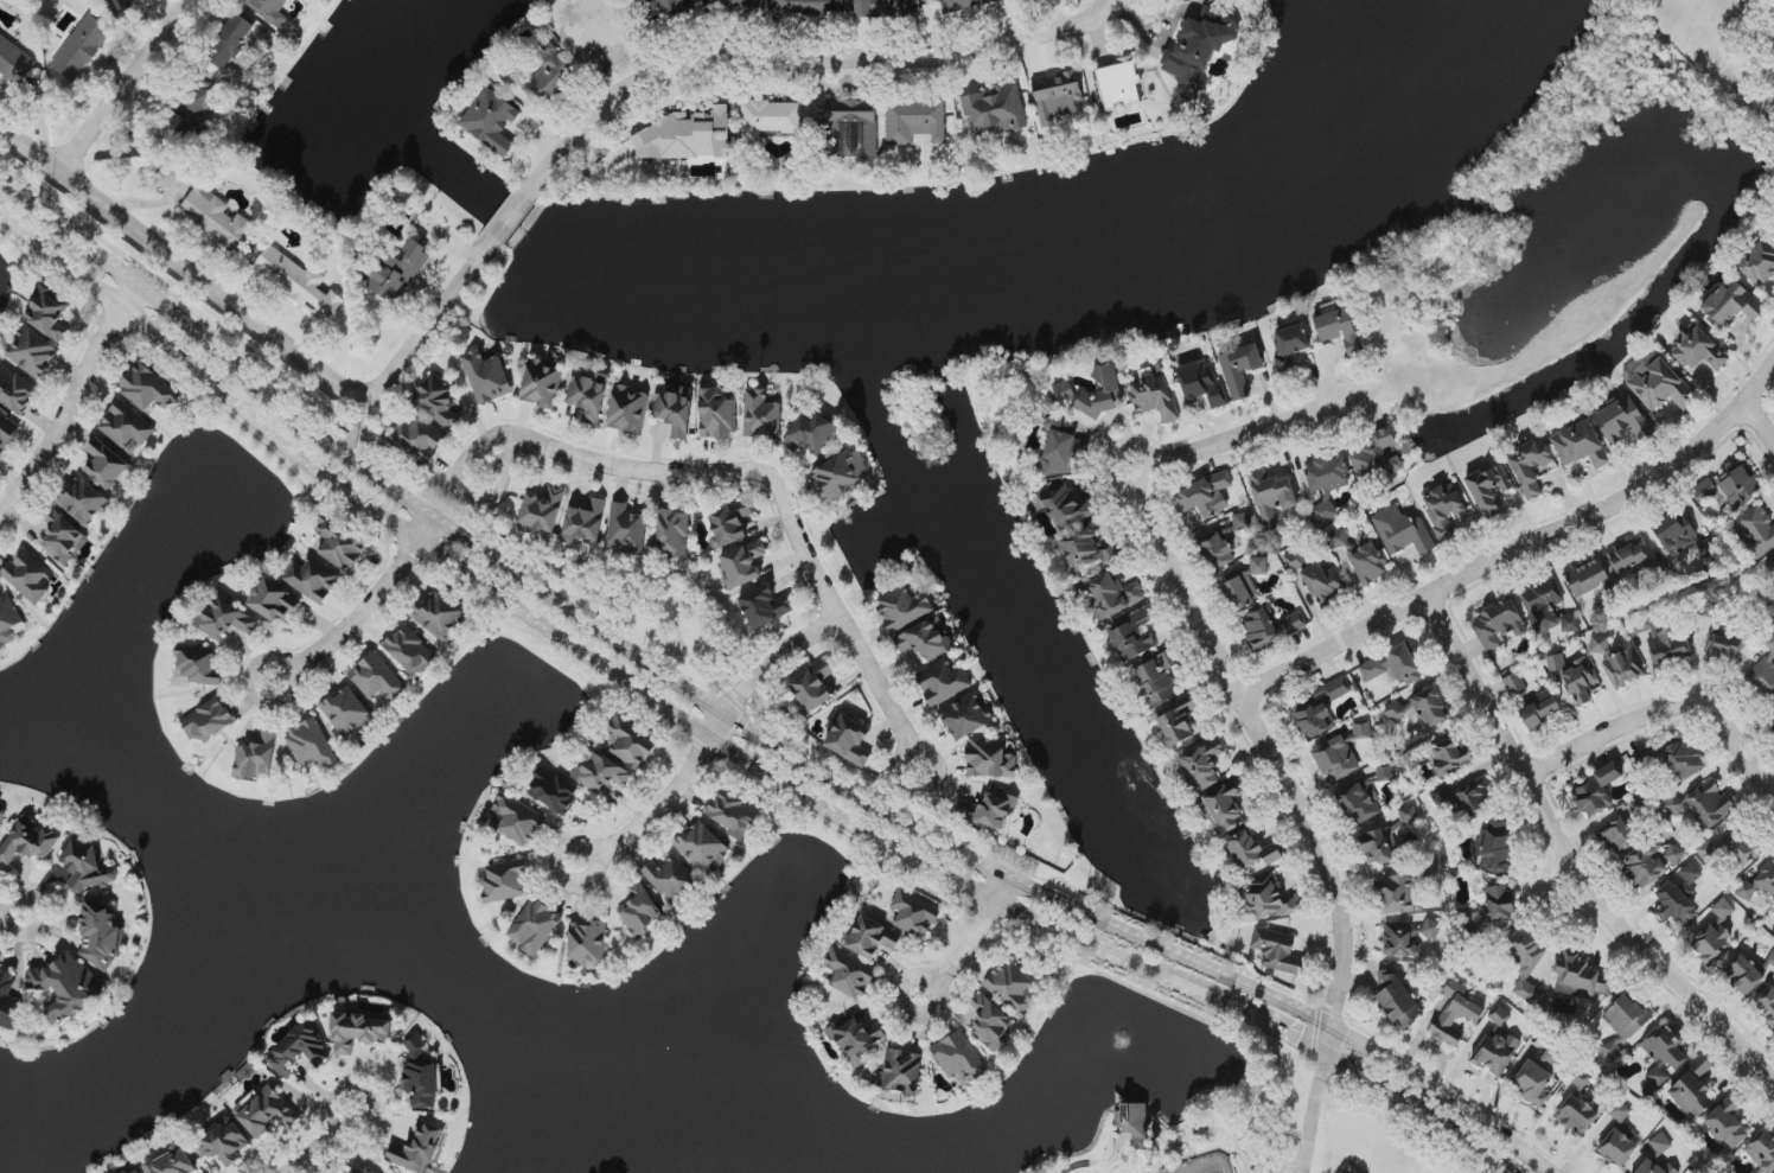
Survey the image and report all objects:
building: (139, 0)
building: (306, 0)
building: (125, 2)
building: (964, 4)
building: (735, 5)
building: (806, 6)
building: (668, 8)
building: (887, 8)
building: (269, 9)
building: (598, 33)
building: (1, 37)
building: (230, 42)
building: (82, 47)
building: (1197, 55)
road: (802, 59)
building: (14, 62)
building: (541, 74)
building: (1119, 84)
road: (123, 87)
building: (1057, 96)
building: (193, 108)
building: (995, 111)
building: (770, 120)
building: (491, 121)
building: (915, 121)
building: (849, 129)
building: (685, 136)
building: (167, 177)
road: (510, 221)
building: (1760, 264)
road: (180, 267)
building: (396, 272)
building: (298, 282)
building: (1732, 305)
building: (47, 314)
road: (429, 326)
building: (1339, 330)
building: (1291, 343)
building: (1698, 350)
building: (32, 352)
building: (1240, 370)
building: (486, 377)
building: (1654, 381)
building: (1202, 383)
building: (542, 384)
building: (147, 389)
building: (15, 391)
building: (1063, 391)
building: (1103, 393)
building: (588, 395)
building: (1155, 397)
building: (438, 401)
road: (71, 403)
building: (675, 409)
building: (627, 410)
building: (717, 415)
building: (761, 415)
building: (1623, 420)
road: (1760, 422)
building: (126, 428)
building: (811, 434)
building: (419, 439)
building: (1059, 445)
building: (1581, 446)
building: (1374, 454)
building: (106, 464)
building: (1531, 467)
road: (715, 473)
building: (841, 474)
building: (1327, 484)
building: (1731, 486)
building: (1491, 490)
building: (1205, 496)
building: (1271, 496)
building: (83, 502)
building: (1067, 508)
building: (1443, 510)
building: (542, 512)
building: (585, 522)
building: (728, 523)
building: (1239, 524)
building: (626, 529)
building: (1402, 531)
building: (1674, 531)
building: (1756, 531)
building: (674, 534)
building: (63, 537)
building: (1339, 540)
building: (339, 544)
road: (1526, 547)
building: (1086, 548)
building: (1215, 552)
building: (1628, 555)
building: (1293, 559)
building: (1370, 563)
building: (1770, 563)
building: (742, 565)
building: (28, 576)
building: (1588, 578)
building: (312, 580)
building: (1322, 581)
building: (1245, 586)
building: (1111, 595)
building: (274, 601)
road: (370, 603)
building: (765, 607)
building: (1548, 607)
building: (902, 608)
building: (439, 616)
building: (8, 619)
building: (225, 620)
building: (1498, 625)
building: (1269, 626)
building: (1134, 635)
building: (926, 640)
building: (1600, 645)
building: (1667, 646)
building: (1724, 648)
building: (410, 651)
road: (777, 661)
building: (198, 665)
road: (1234, 665)
building: (1392, 667)
building: (1623, 668)
building: (1765, 674)
building: (1575, 676)
building: (377, 678)
building: (1156, 680)
building: (943, 682)
building: (1514, 686)
building: (812, 687)
road: (283, 700)
building: (1320, 709)
building: (1421, 709)
road: (1666, 709)
building: (1539, 710)
building: (346, 713)
building: (966, 718)
building: (208, 721)
building: (1178, 725)
building: (1772, 725)
road: (741, 727)
building: (1361, 729)
building: (850, 740)
building: (631, 742)
building: (311, 744)
road: (720, 746)
building: (1449, 757)
building: (256, 758)
building: (990, 759)
building: (1336, 759)
building: (1682, 759)
building: (1204, 764)
building: (601, 773)
building: (553, 791)
building: (1596, 792)
road: (670, 797)
building: (1359, 804)
building: (1702, 805)
building: (1221, 808)
building: (0, 810)
building: (989, 810)
building: (734, 815)
building: (518, 820)
building: (1615, 836)
building: (28, 842)
building: (703, 847)
building: (1379, 847)
building: (1252, 850)
building: (1494, 850)
road: (1574, 855)
building: (1651, 862)
building: (85, 865)
road: (588, 879)
building: (669, 879)
building: (505, 881)
building: (1759, 882)
building: (1396, 895)
building: (1679, 898)
building: (1268, 900)
building: (1500, 904)
building: (639, 910)
building: (1723, 910)
building: (914, 914)
road: (11, 916)
building: (535, 926)
building: (100, 933)
building: (1408, 937)
building: (872, 938)
road: (969, 943)
building: (588, 944)
building: (1712, 944)
building: (1277, 951)
building: (1527, 963)
building: (849, 974)
building: (1749, 974)
building: (1580, 977)
building: (66, 987)
building: (1012, 988)
building: (8, 1002)
building: (1398, 1002)
building: (1768, 1005)
building: (1455, 1013)
building: (1499, 1015)
building: (989, 1022)
building: (1623, 1024)
building: (357, 1033)
building: (856, 1040)
building: (300, 1051)
fountain: (1124, 1051)
building: (1497, 1052)
building: (1664, 1054)
building: (959, 1059)
building: (900, 1073)
building: (421, 1079)
building: (1536, 1084)
building: (1693, 1091)
building: (266, 1111)
road: (1313, 1115)
building: (1577, 1115)
building: (1135, 1122)
building: (1727, 1124)
building: (1617, 1137)
building: (226, 1143)
road: (320, 1143)
building: (1660, 1145)
building: (417, 1148)
building: (1762, 1152)
building: (172, 1162)
building: (1655, 1167)
building: (358, 1169)
building: (133, 1171)

